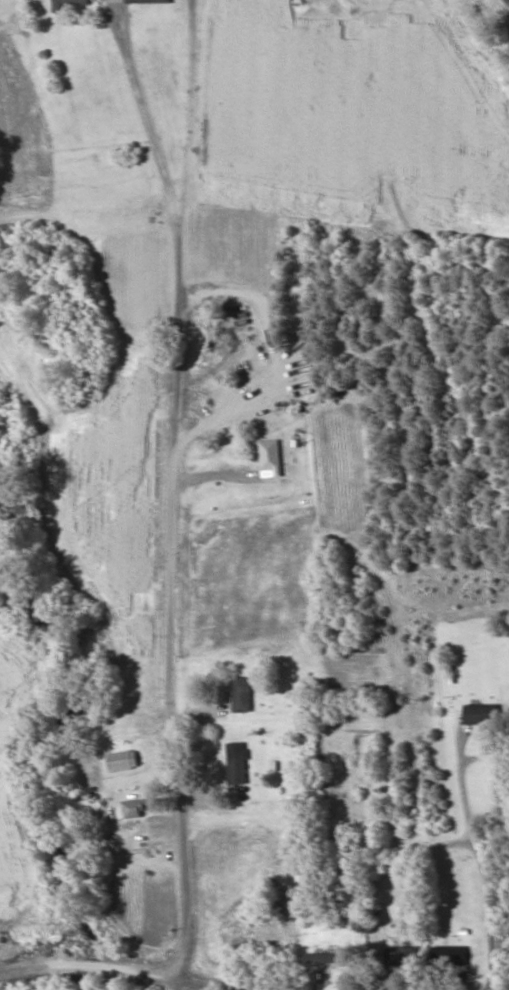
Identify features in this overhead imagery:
building: (147, 2)
building: (68, 5)
building: (270, 455)
road: (179, 523)
building: (242, 695)
building: (481, 716)
building: (123, 762)
building: (237, 768)
building: (345, 797)
building: (132, 811)
building: (400, 956)
building: (449, 956)
building: (330, 957)
road: (117, 964)
building: (272, 968)

